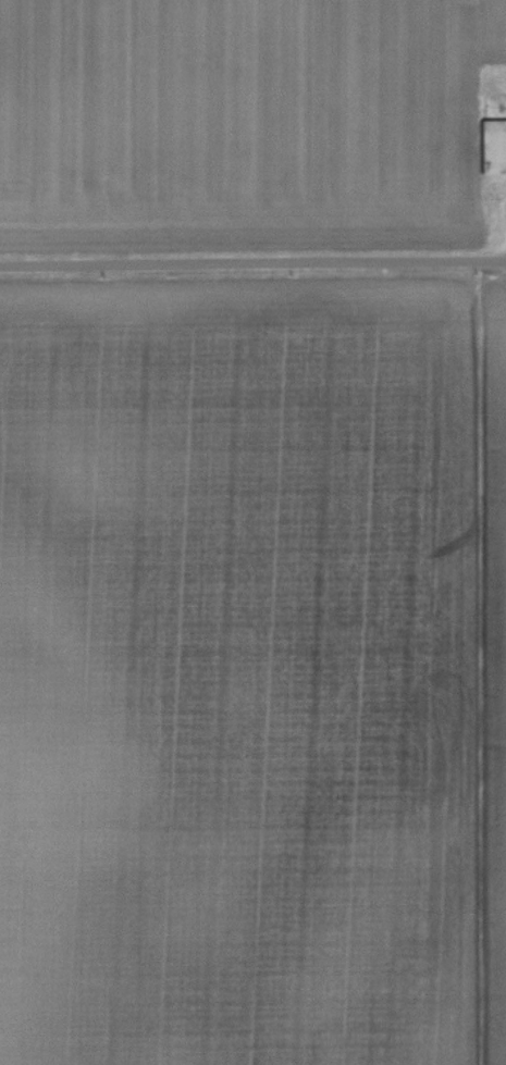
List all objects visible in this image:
road: (252, 262)

